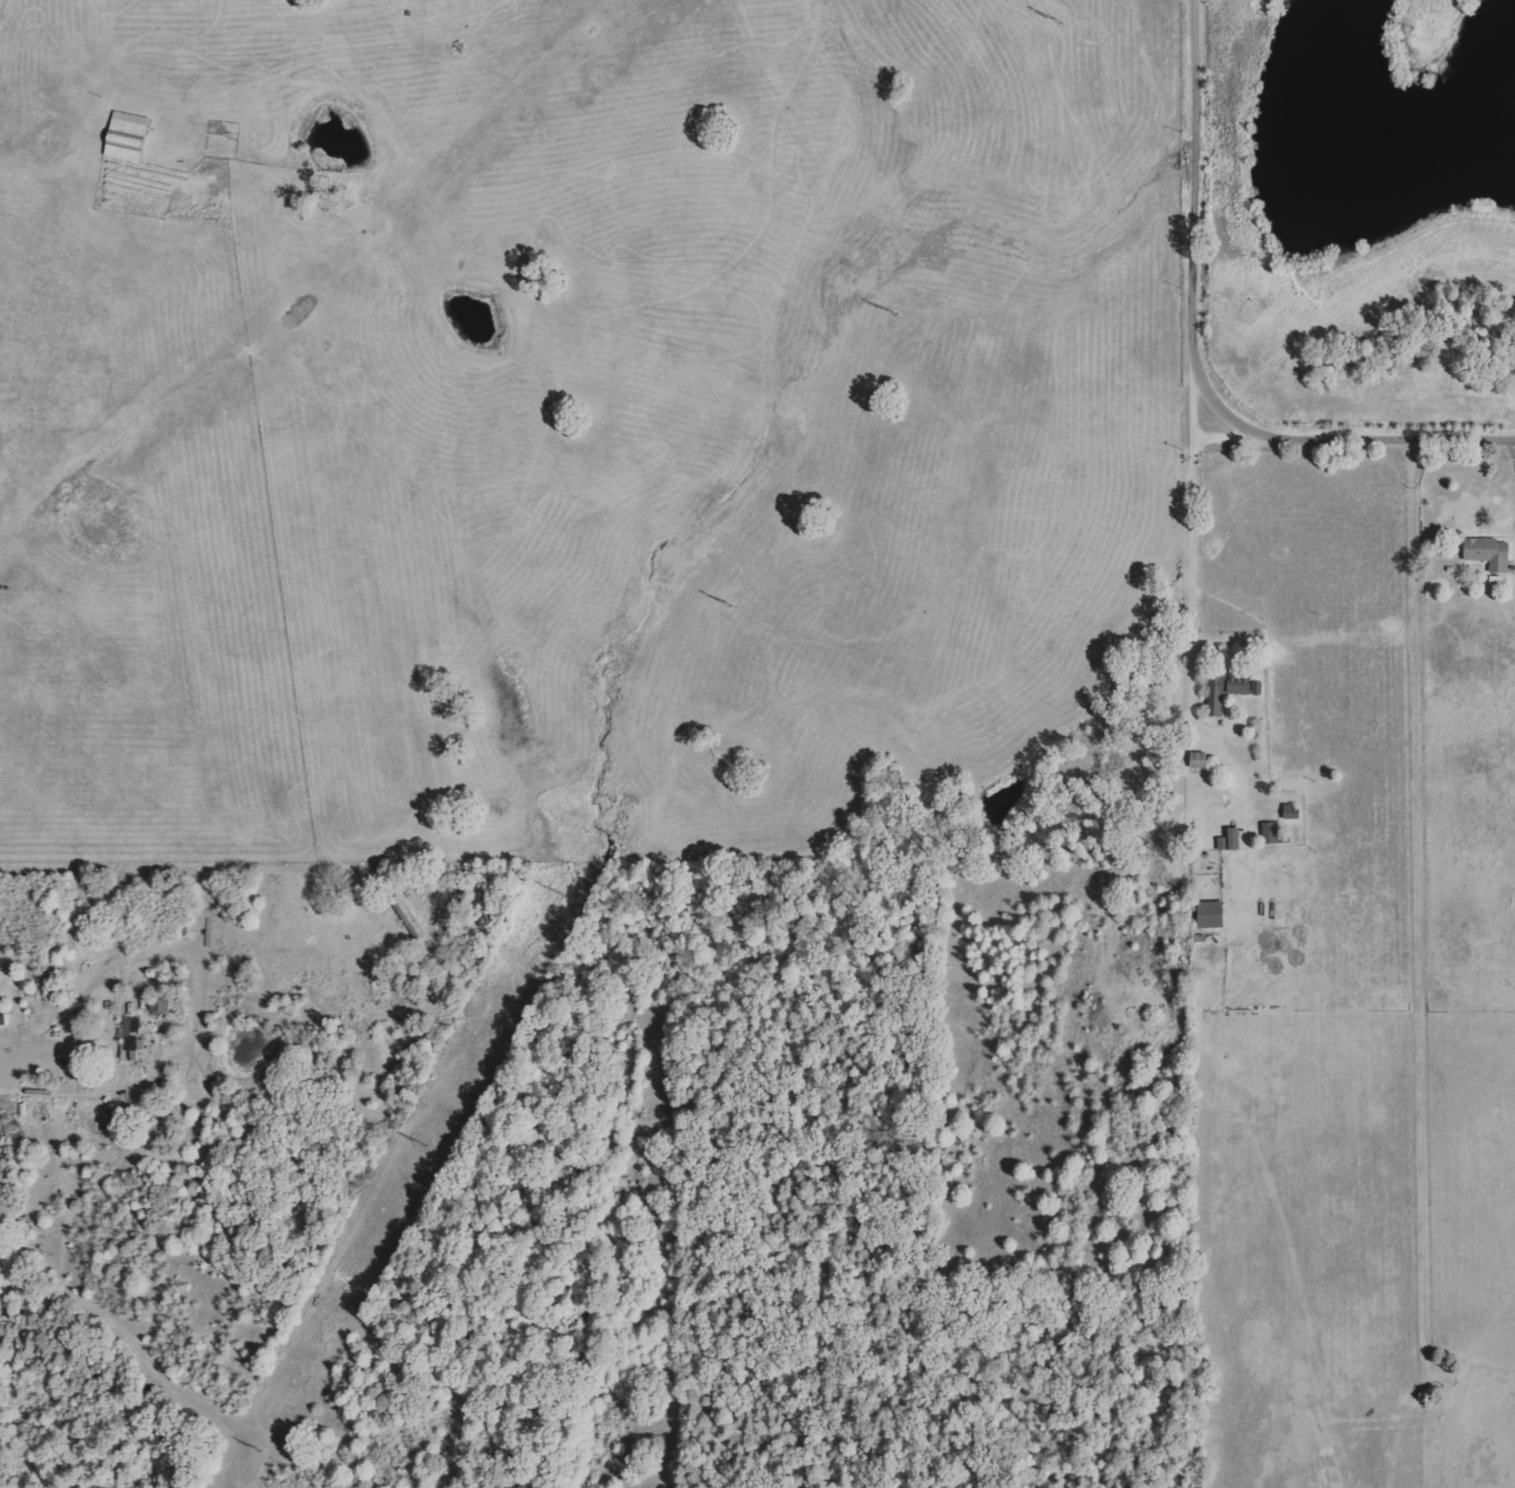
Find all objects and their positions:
power tower: (1045, 19)
building: (129, 136)
road: (1192, 204)
power tower: (879, 313)
road: (1222, 436)
road: (1360, 438)
road: (1191, 547)
building: (1491, 554)
power tower: (716, 603)
building: (1231, 691)
building: (1202, 760)
building: (1294, 812)
building: (1273, 833)
building: (1233, 841)
power tower: (552, 893)
building: (1214, 915)
building: (162, 1005)
building: (132, 1038)
power tower: (412, 1142)
power tower: (250, 1449)

